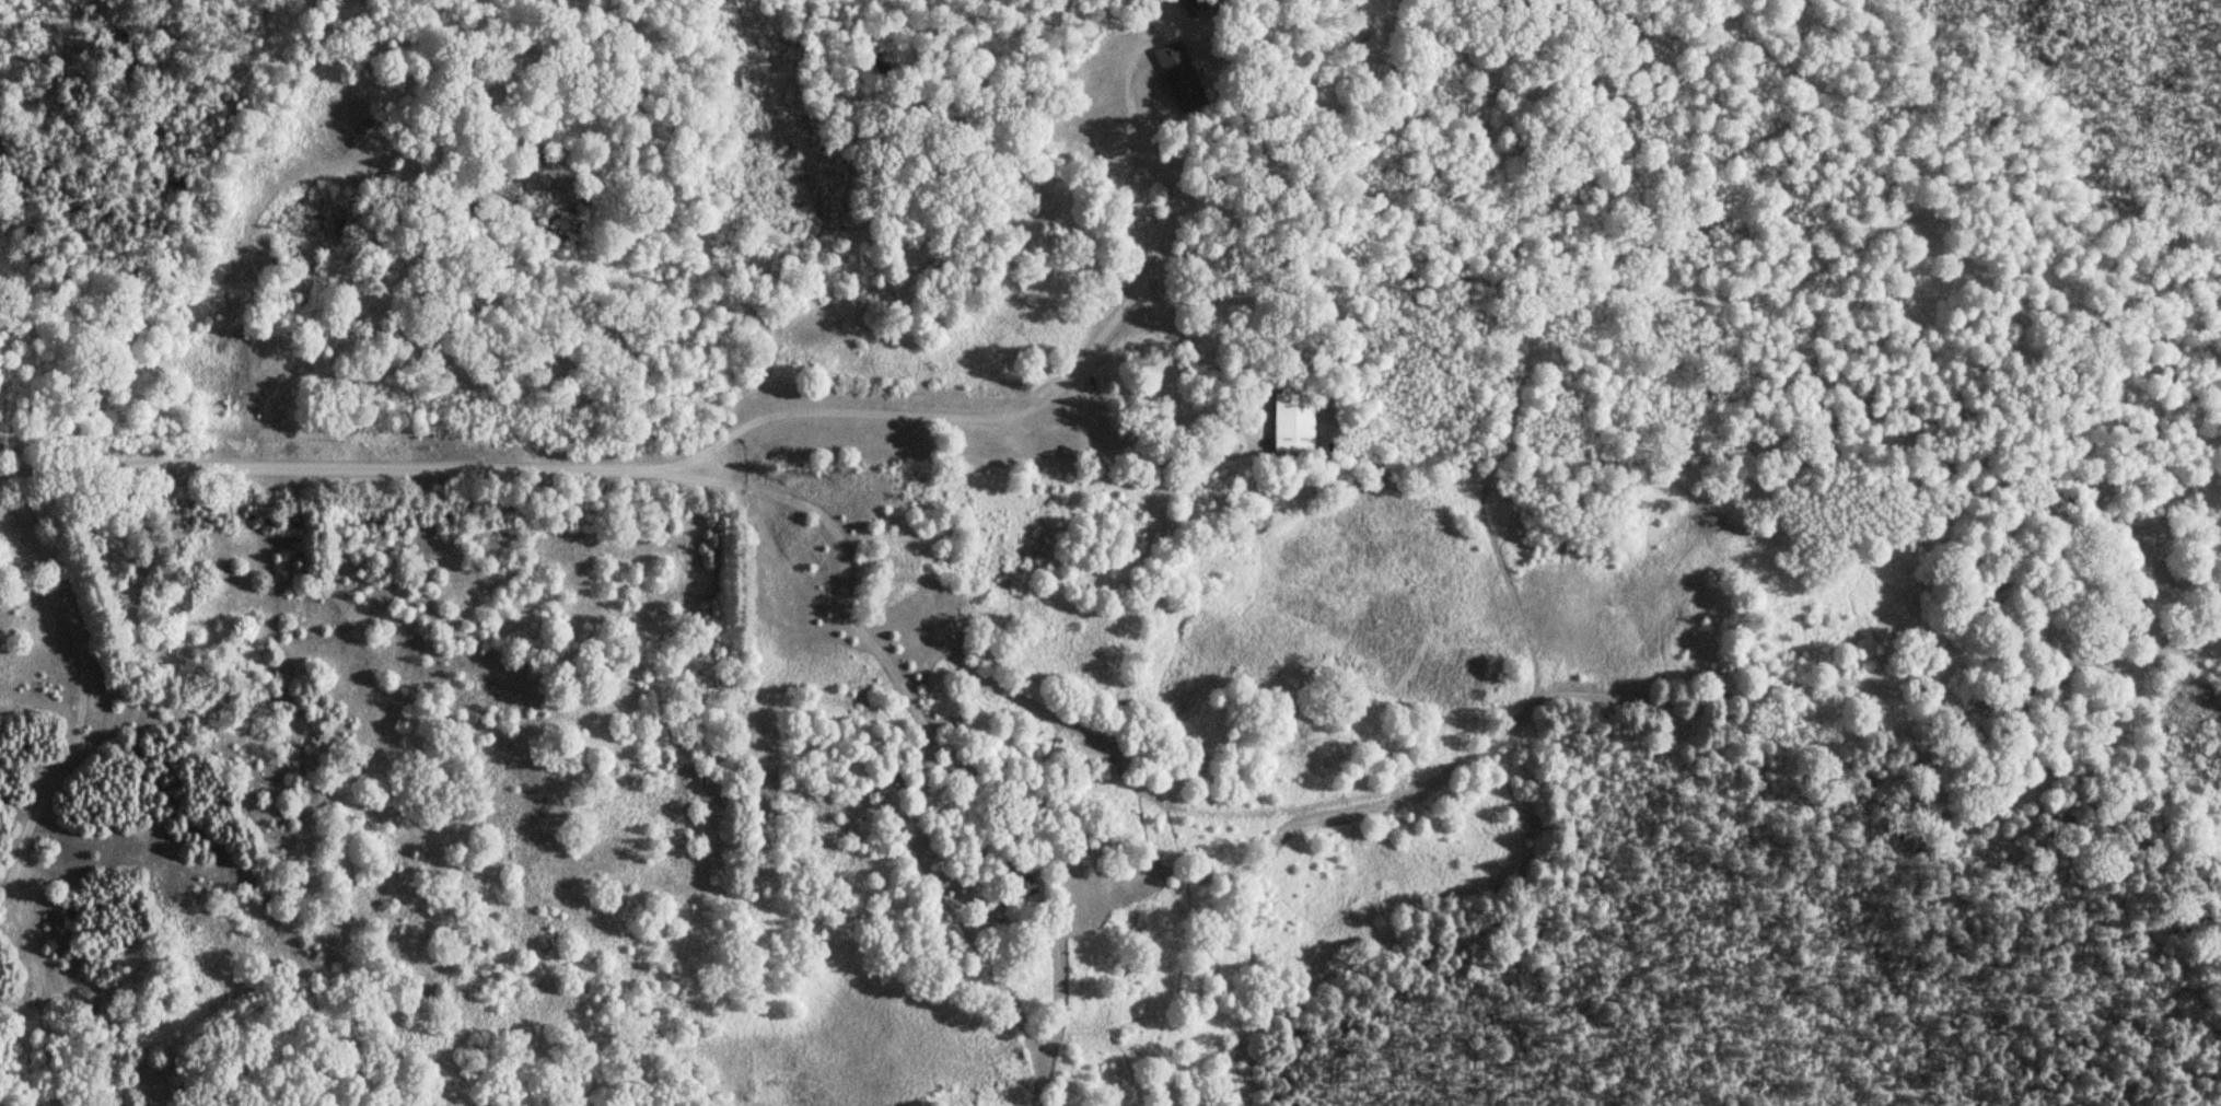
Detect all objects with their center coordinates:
building: (1179, 77)
road: (1092, 342)
building: (1292, 422)
road: (348, 468)
road: (71, 750)
building: (1024, 886)

